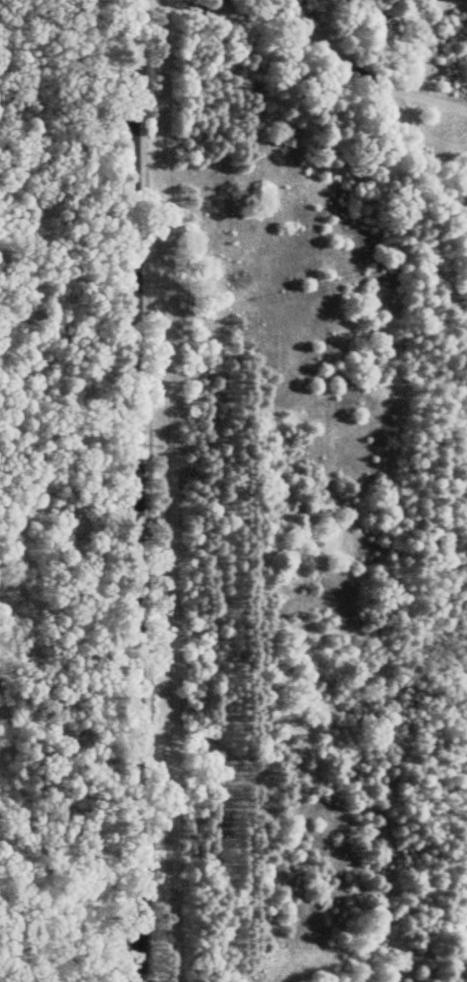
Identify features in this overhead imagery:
road: (67, 435)
road: (134, 490)

